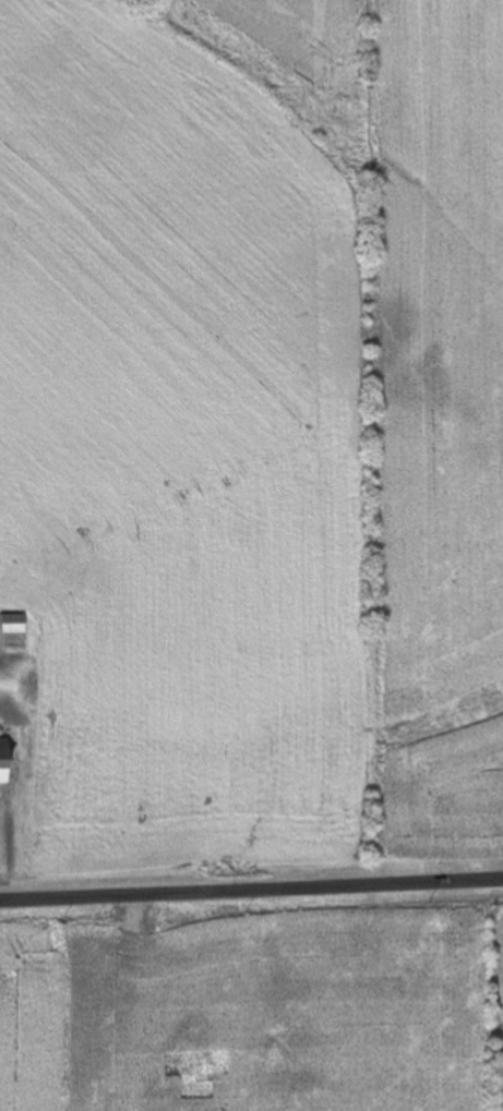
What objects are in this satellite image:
building: (15, 625)
building: (7, 762)
road: (251, 889)

